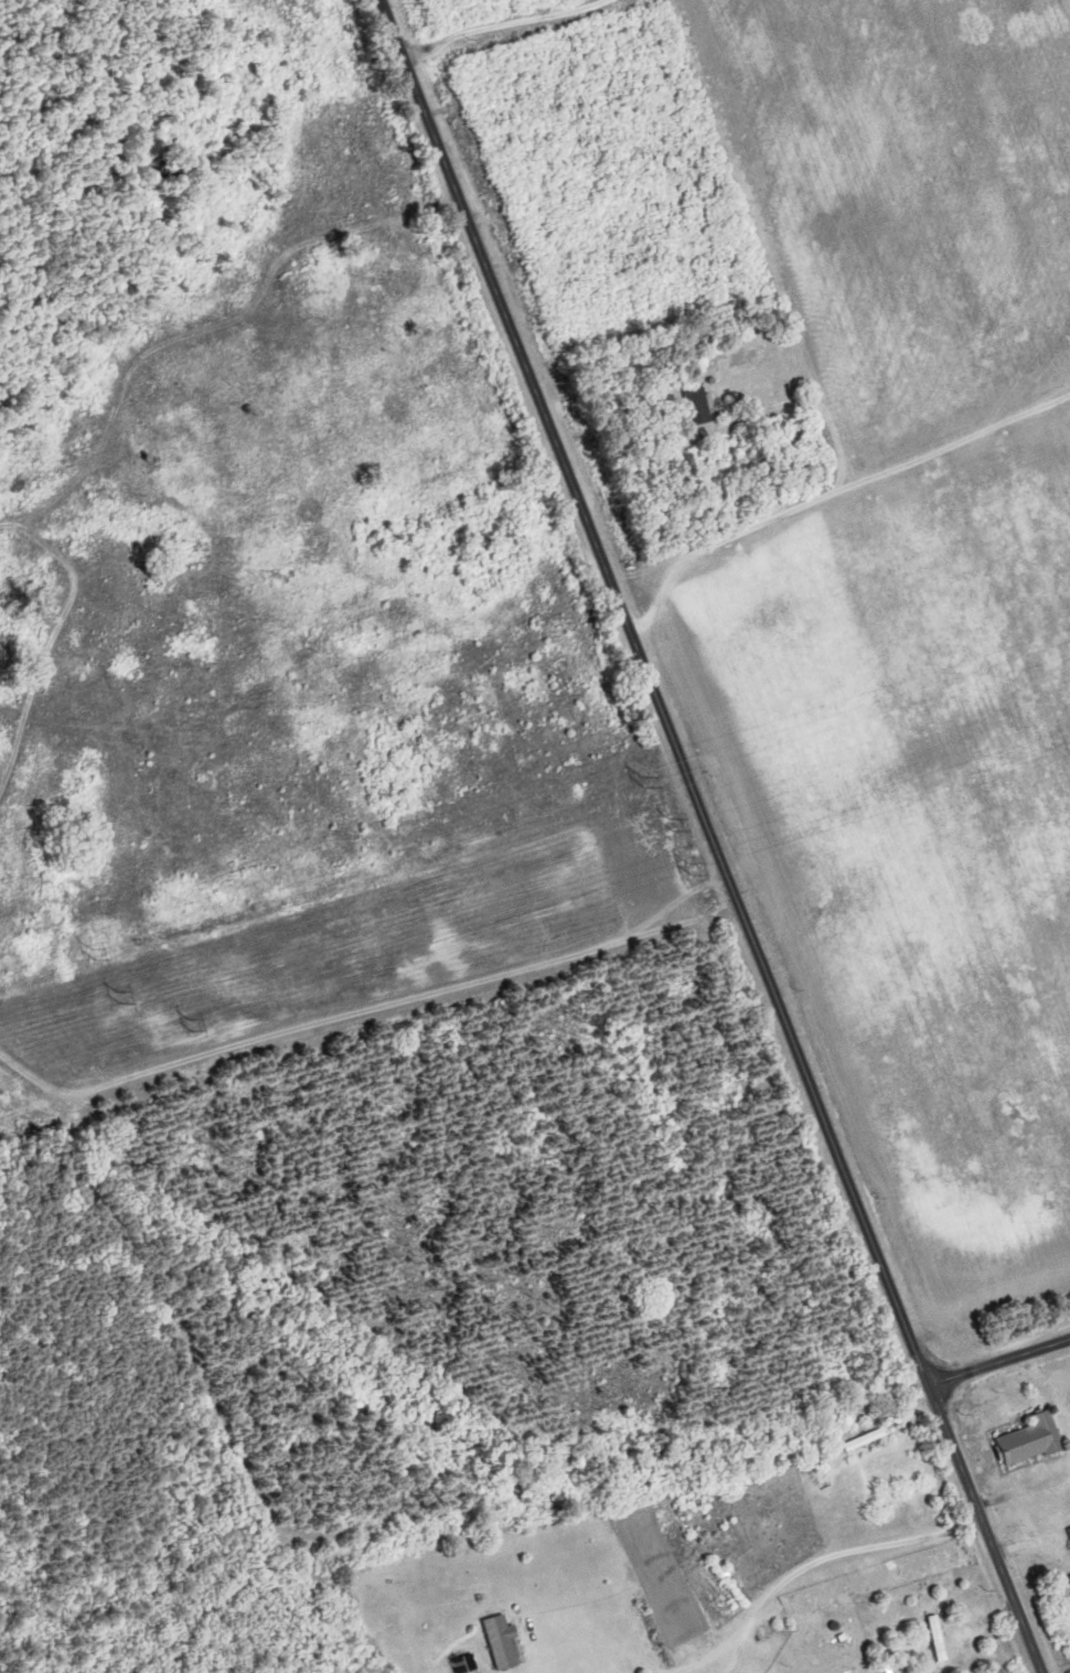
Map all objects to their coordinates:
road: (501, 23)
road: (759, 244)
building: (700, 406)
road: (831, 494)
power tower: (645, 781)
power tower: (672, 824)
road: (713, 836)
power tower: (689, 868)
power tower: (92, 953)
power tower: (121, 997)
power tower: (191, 1021)
building: (11, 1072)
road: (998, 1362)
building: (1032, 1441)
road: (826, 1557)
building: (940, 1639)
building: (506, 1643)

